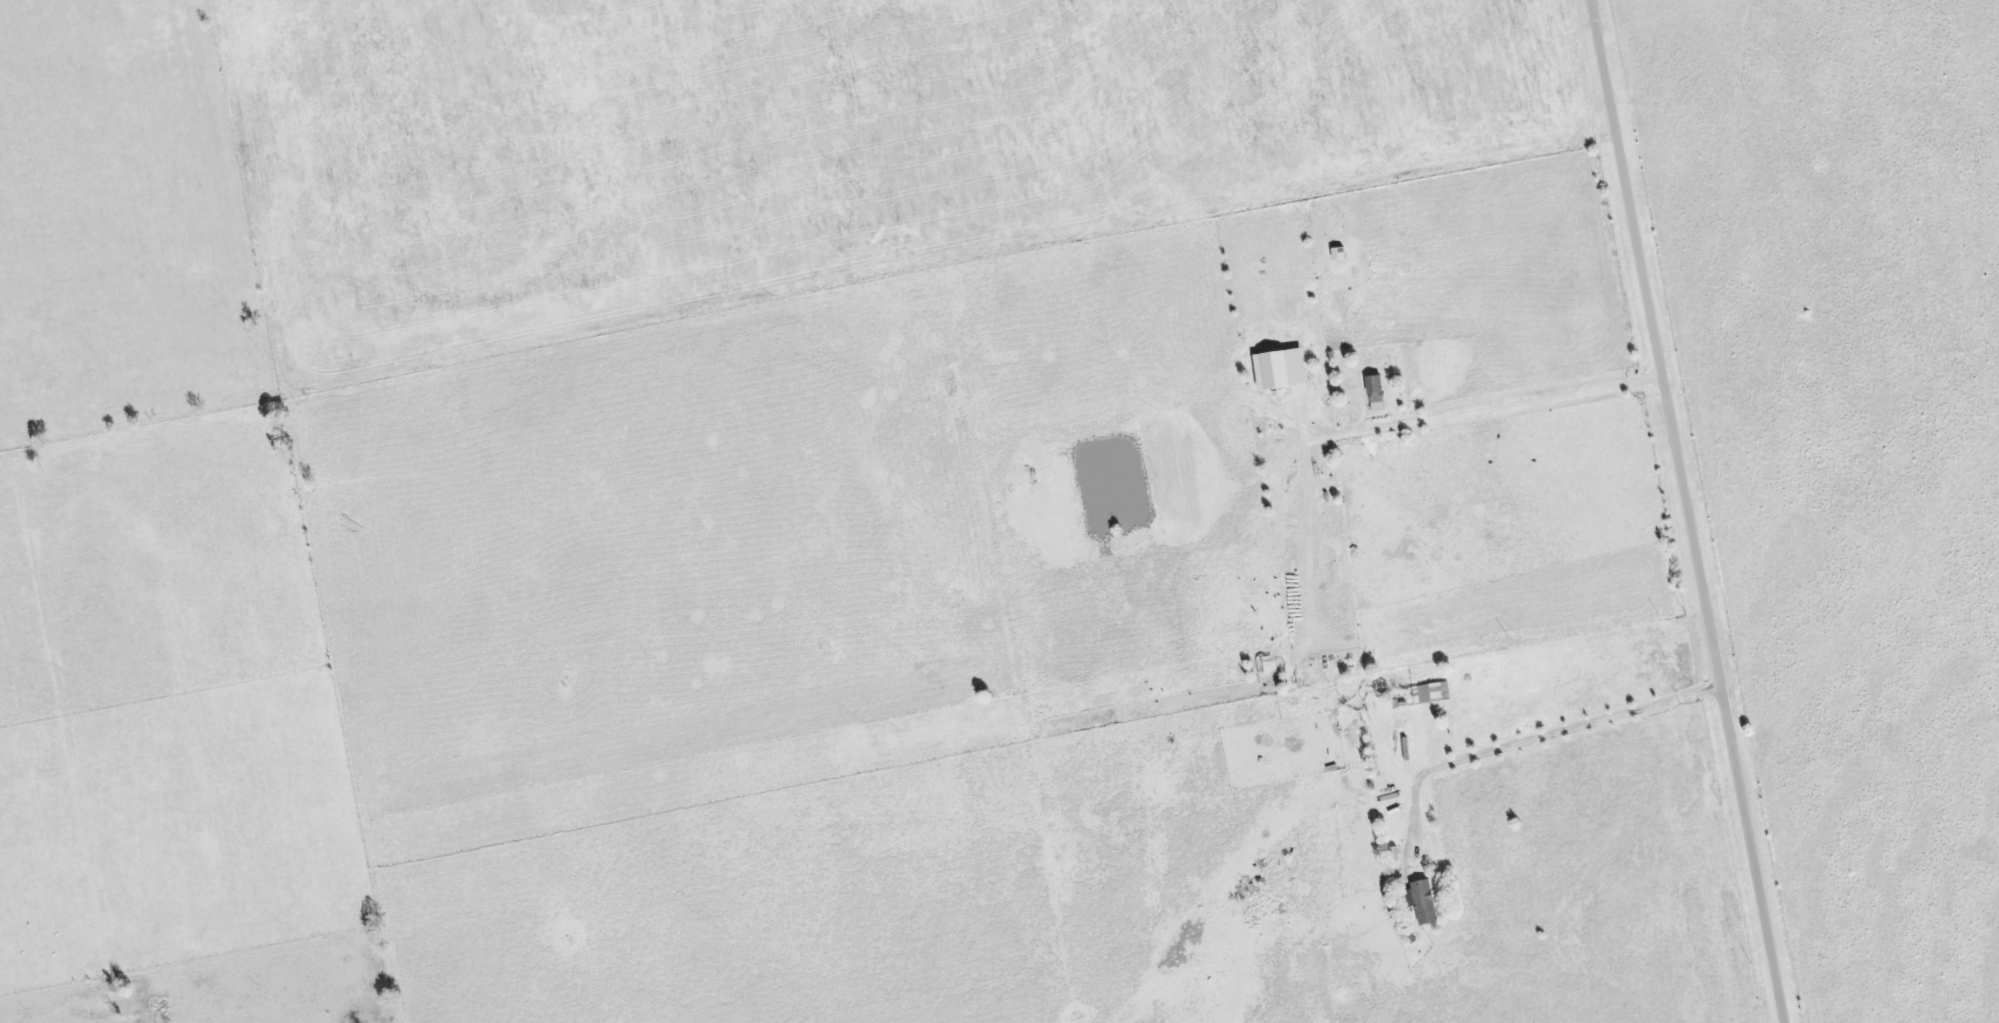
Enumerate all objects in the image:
building: (1285, 370)
building: (1380, 394)
road: (1517, 410)
road: (1693, 509)
building: (1434, 694)
road: (1545, 743)
building: (1428, 903)

